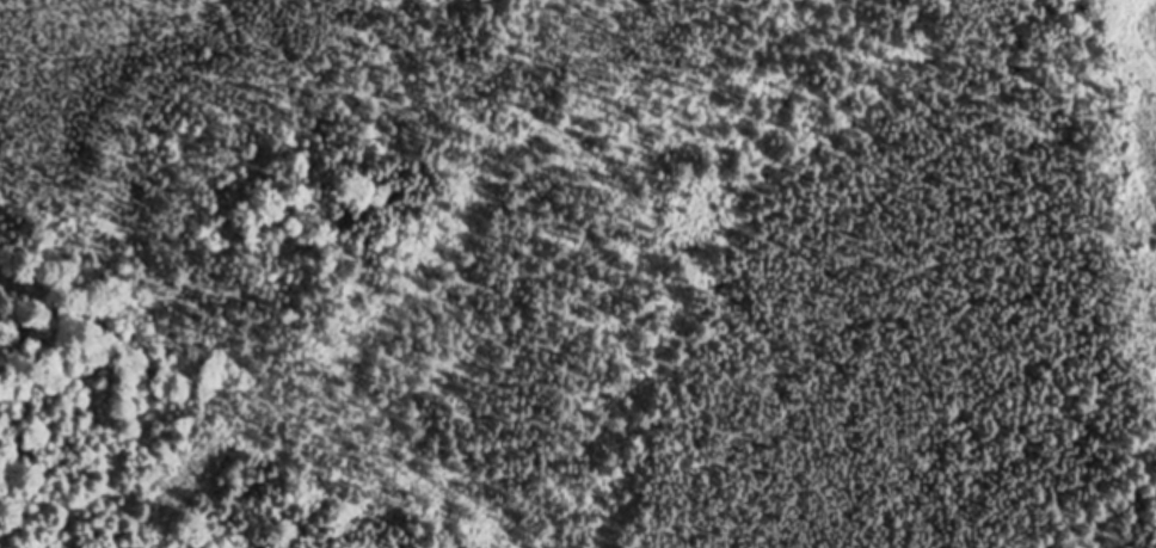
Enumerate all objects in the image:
crop: (1138, 56)

